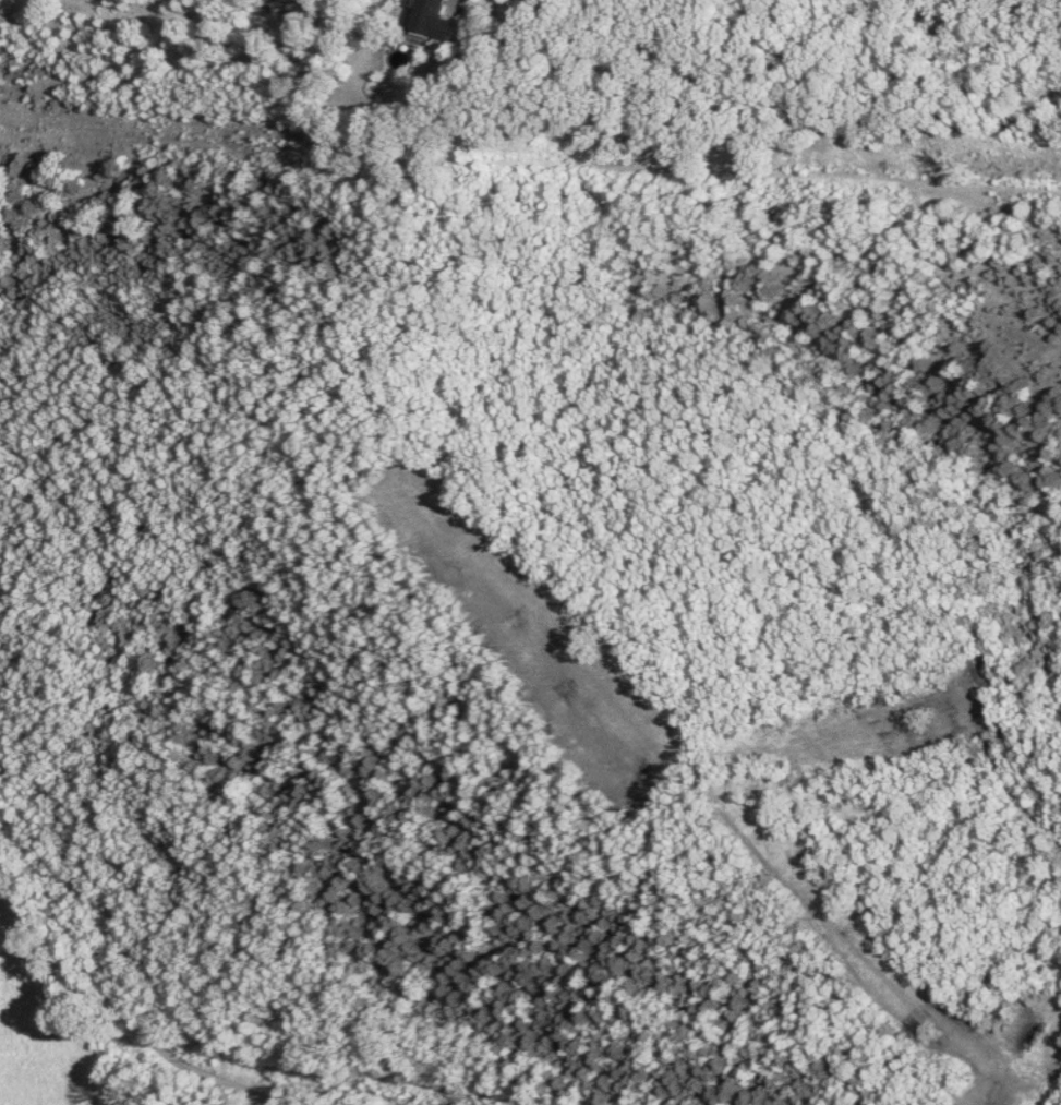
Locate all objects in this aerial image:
building: (436, 20)
road: (116, 989)

